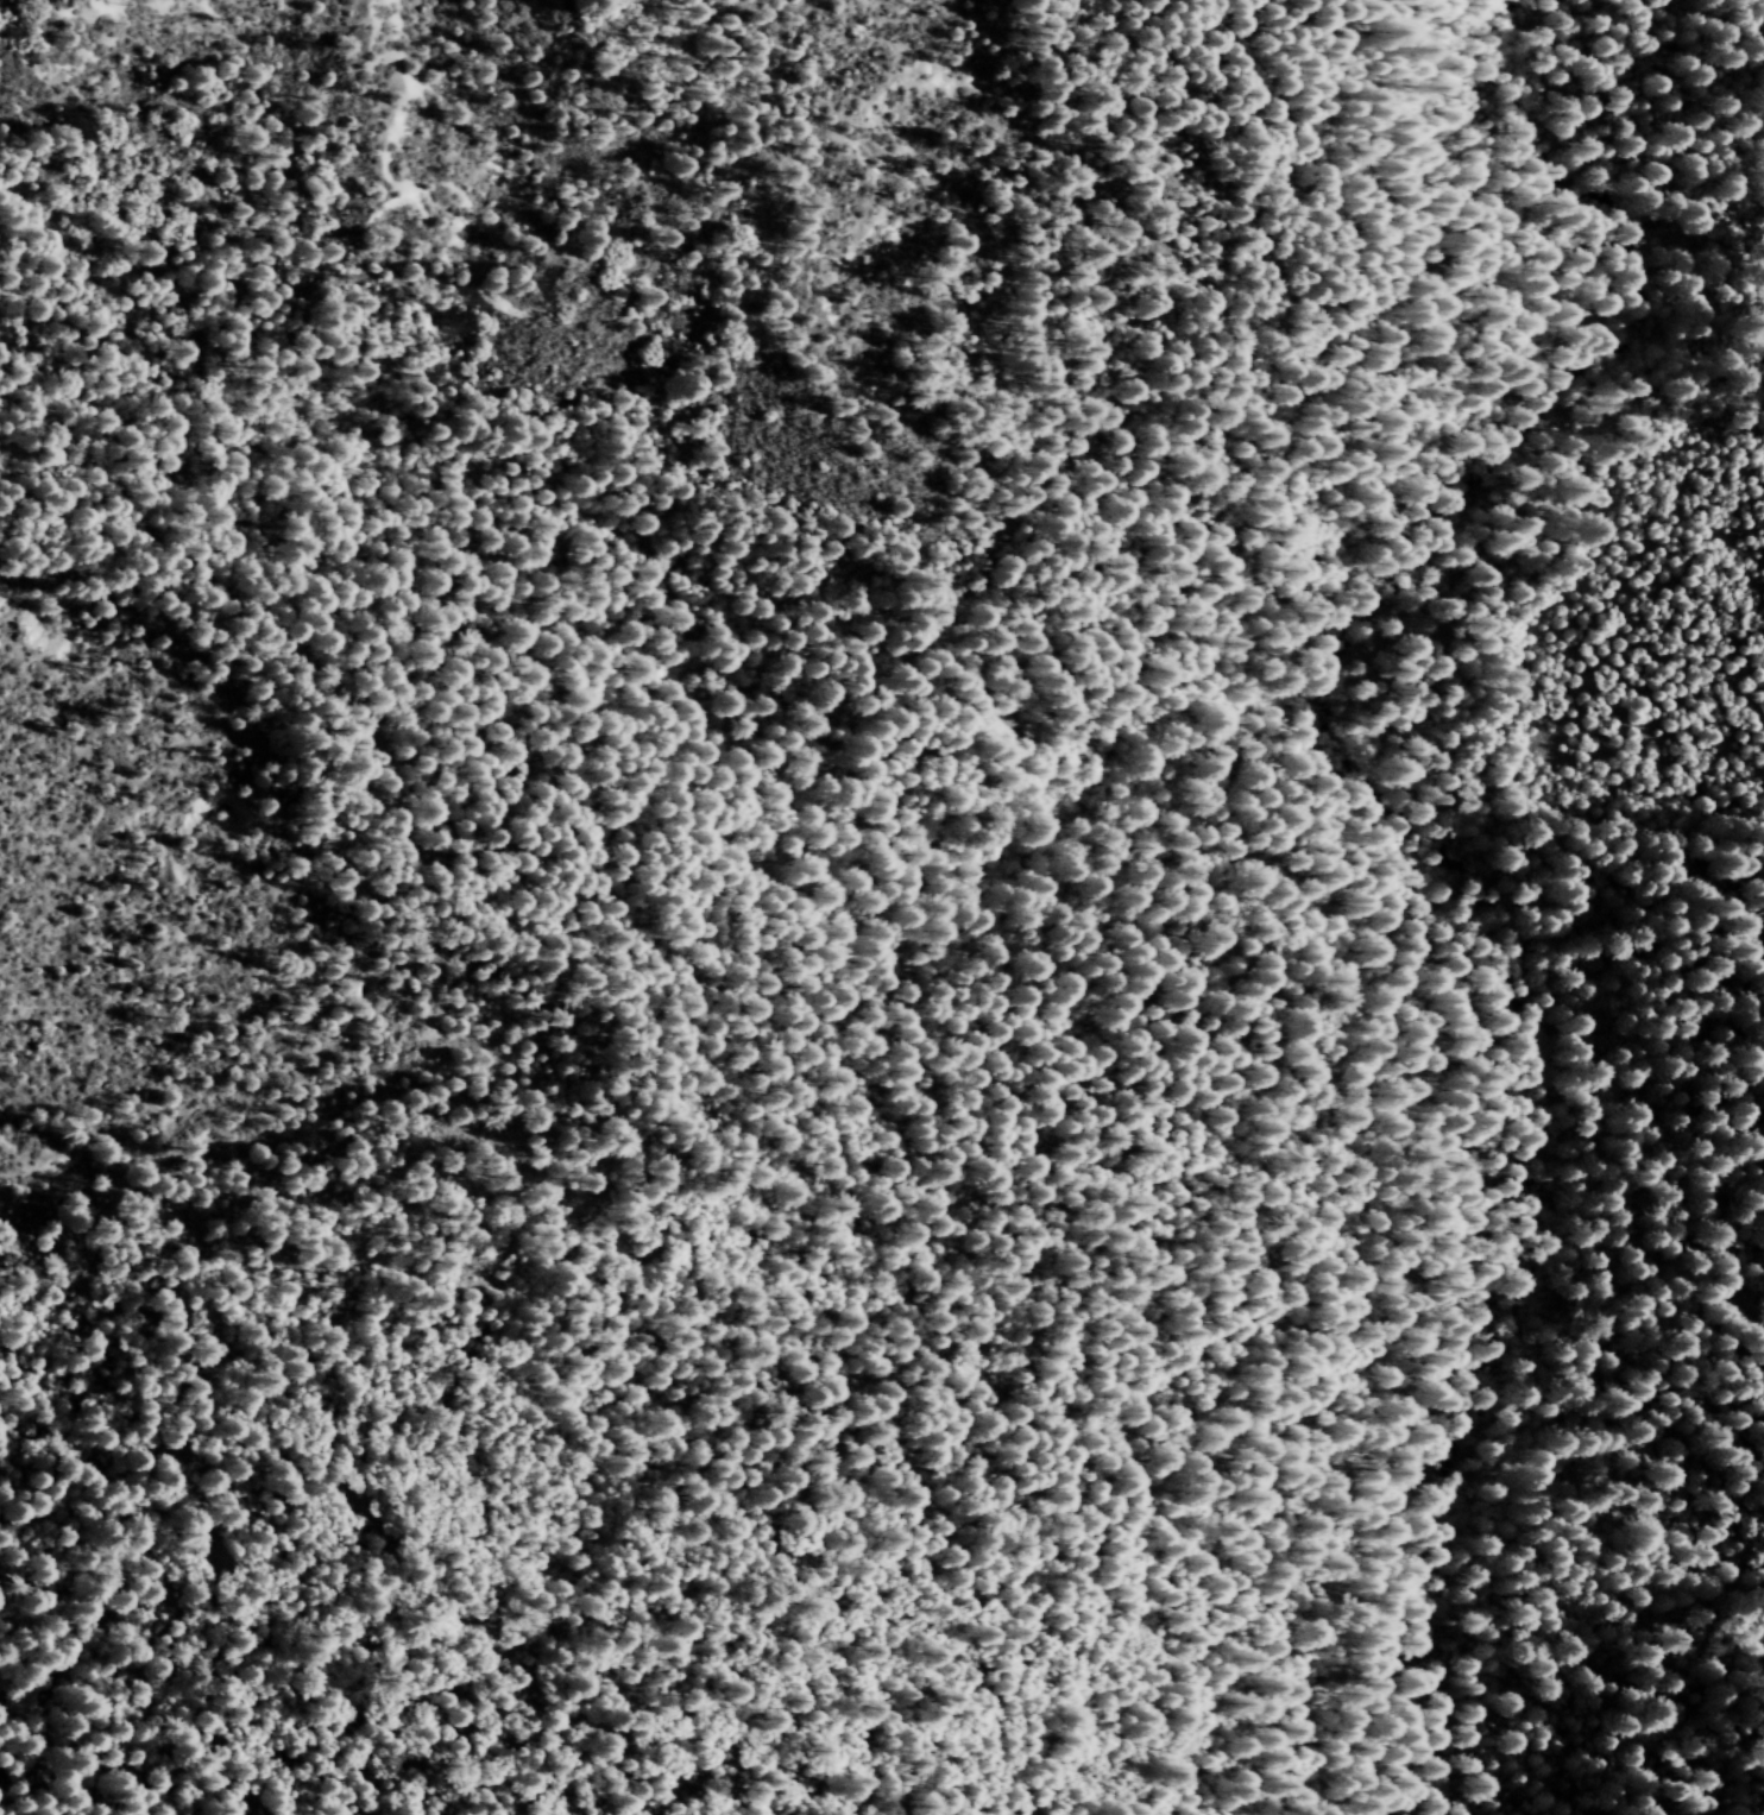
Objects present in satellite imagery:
road: (1316, 827)
park: (882, 907)
road: (1401, 933)
road: (1485, 1057)
park: (1664, 1103)

